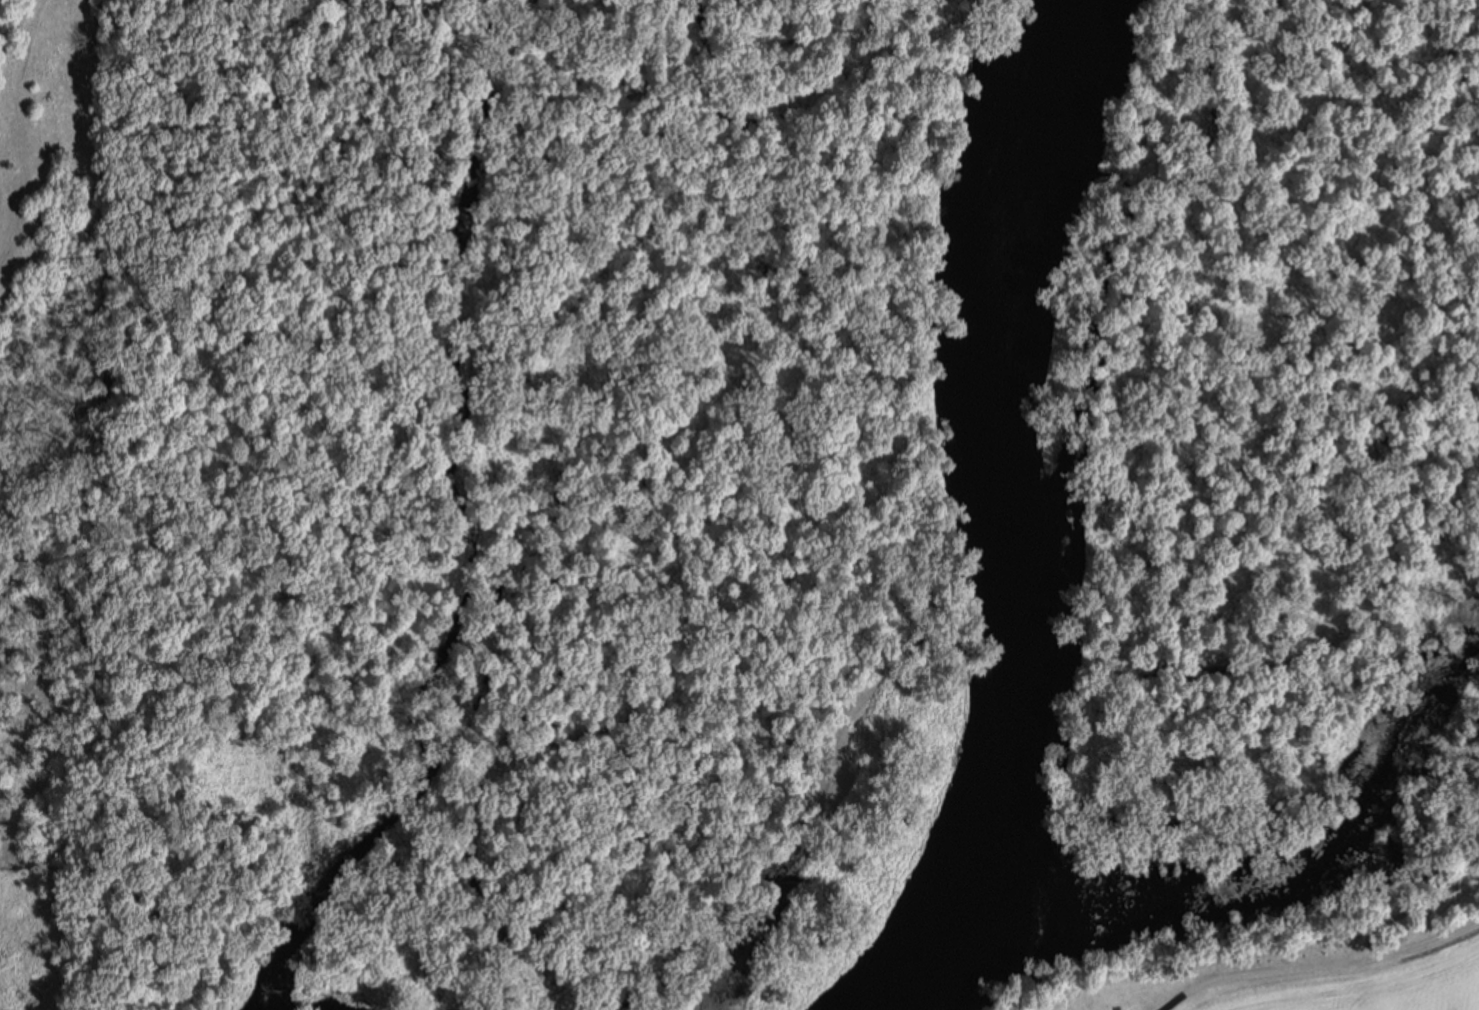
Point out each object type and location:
river: (1015, 510)
road: (1317, 963)
crop: (1356, 981)

